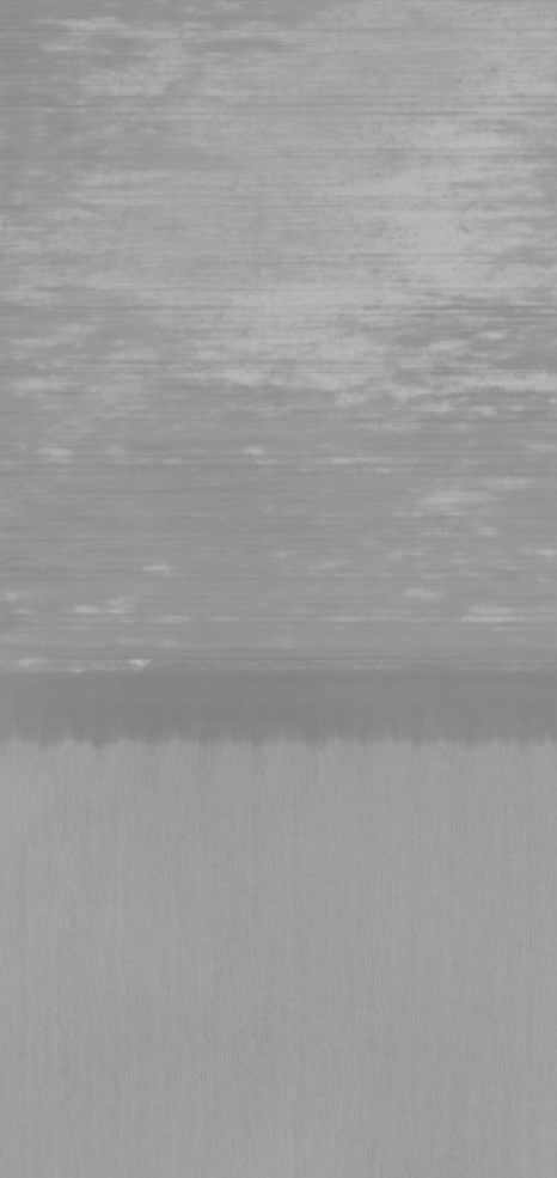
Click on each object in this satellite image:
road: (278, 655)

